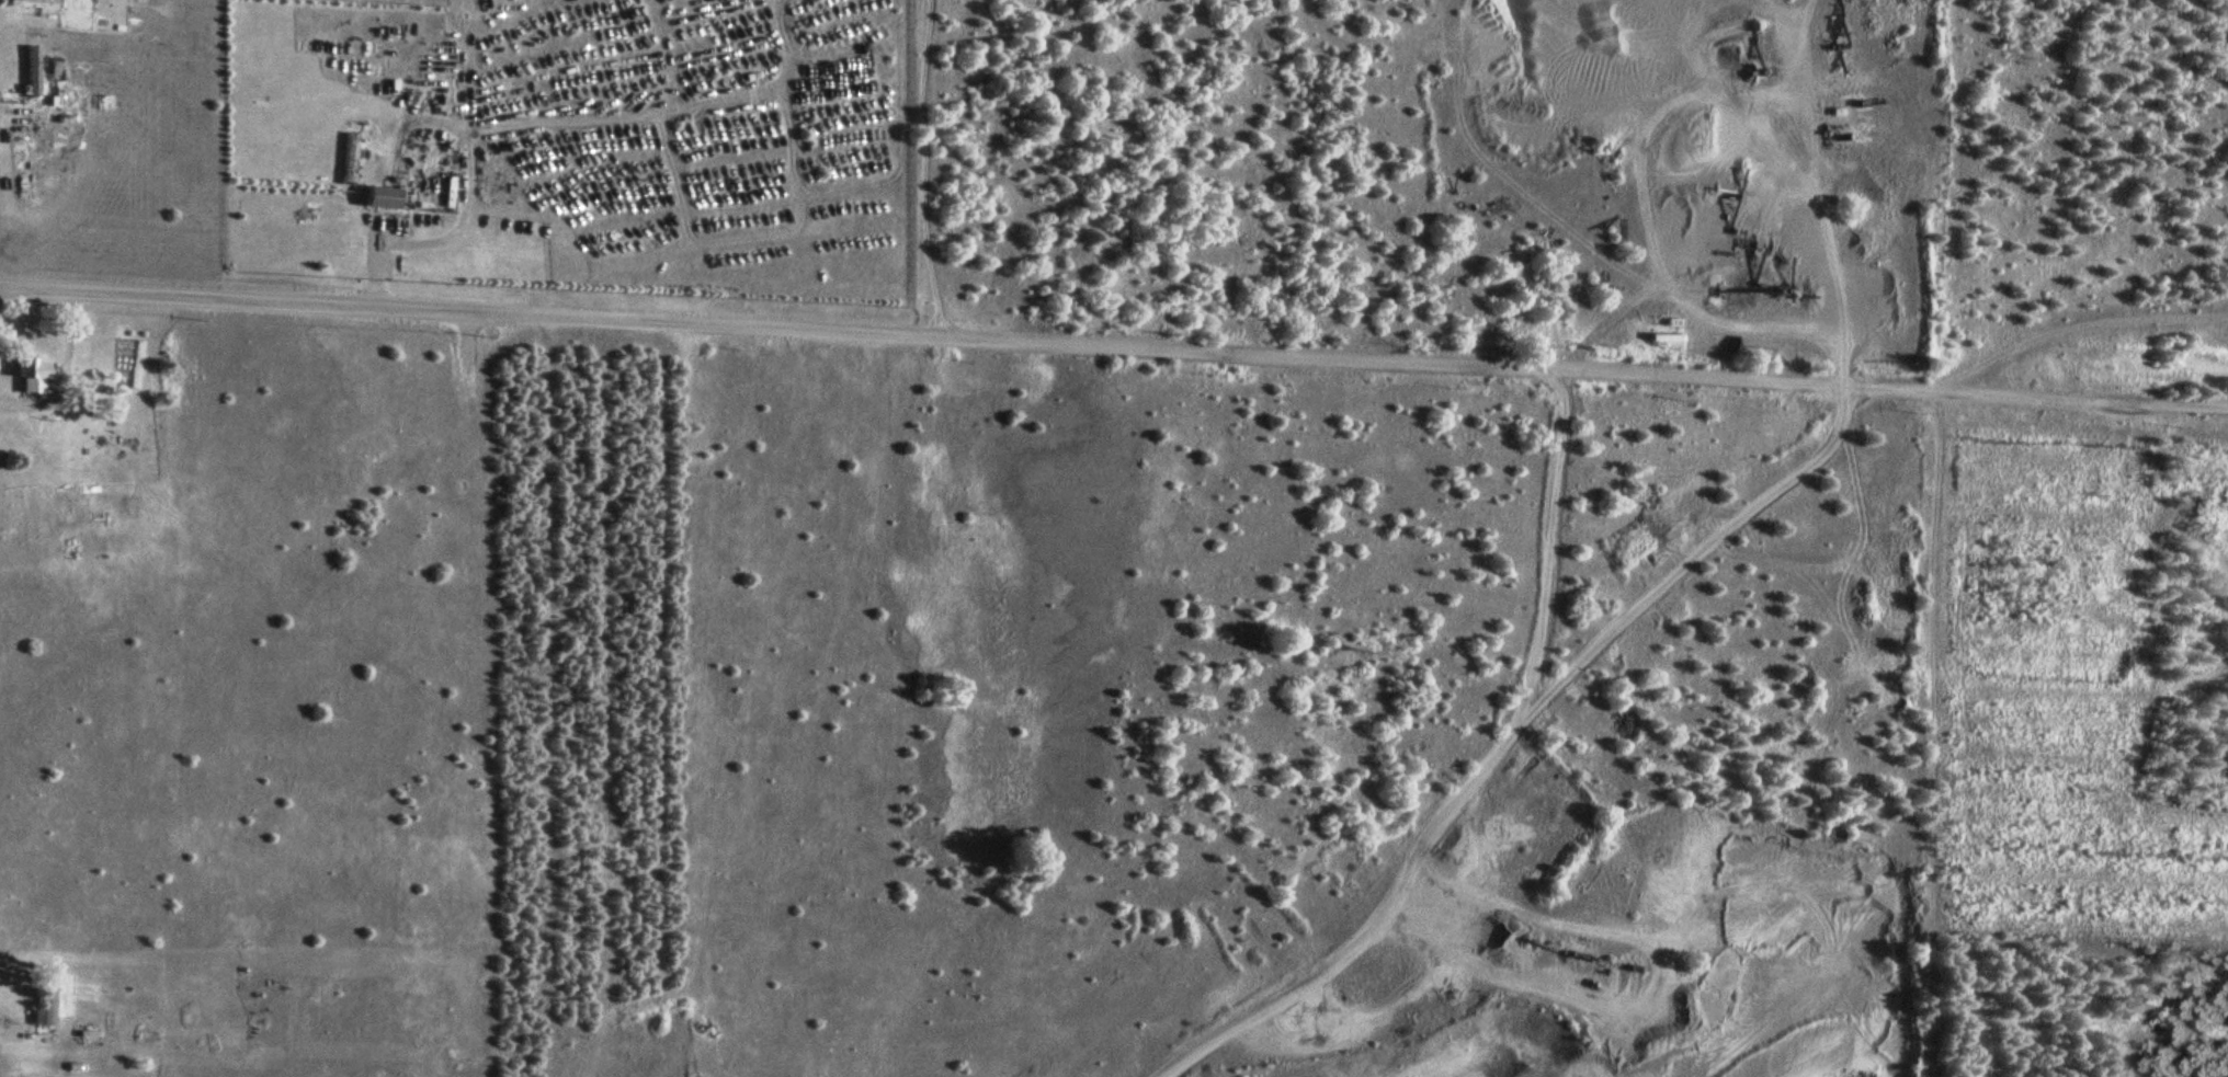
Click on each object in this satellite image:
building: (32, 4)
building: (30, 72)
quarry: (1681, 176)
building: (380, 196)
road: (370, 260)
road: (1713, 321)
road: (2074, 324)
quarry: (2217, 331)
building: (1663, 337)
road: (1113, 345)
building: (1752, 348)
road: (59, 368)
building: (33, 374)
quarry: (1492, 965)
building: (45, 1002)
road: (9, 1028)

